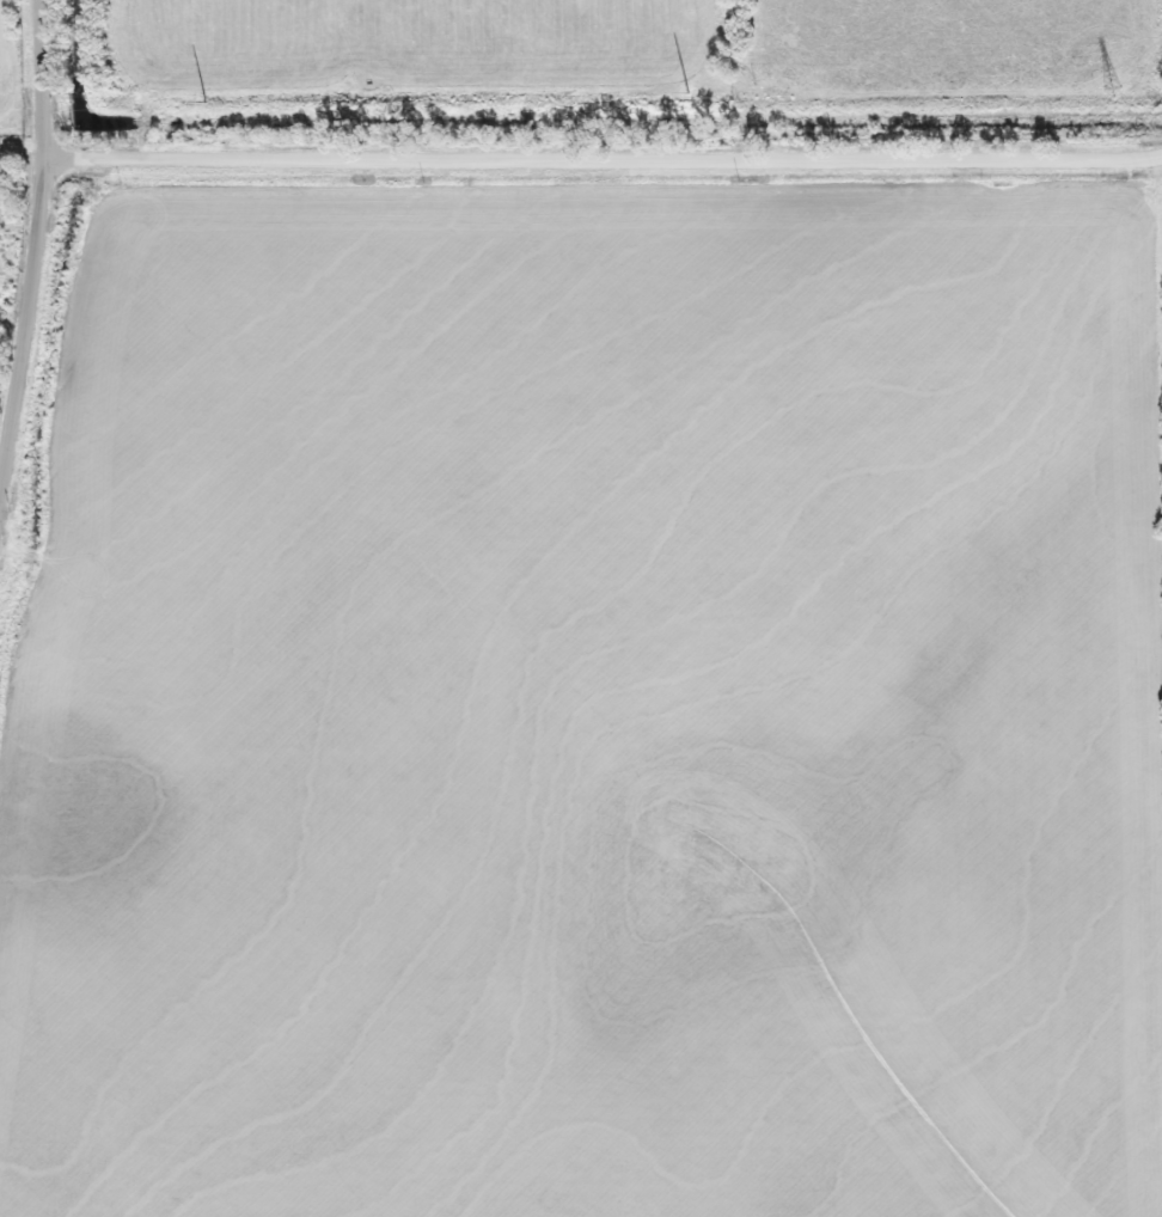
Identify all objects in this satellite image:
power tower: (1112, 90)
road: (23, 153)
road: (604, 158)
road: (33, 251)

